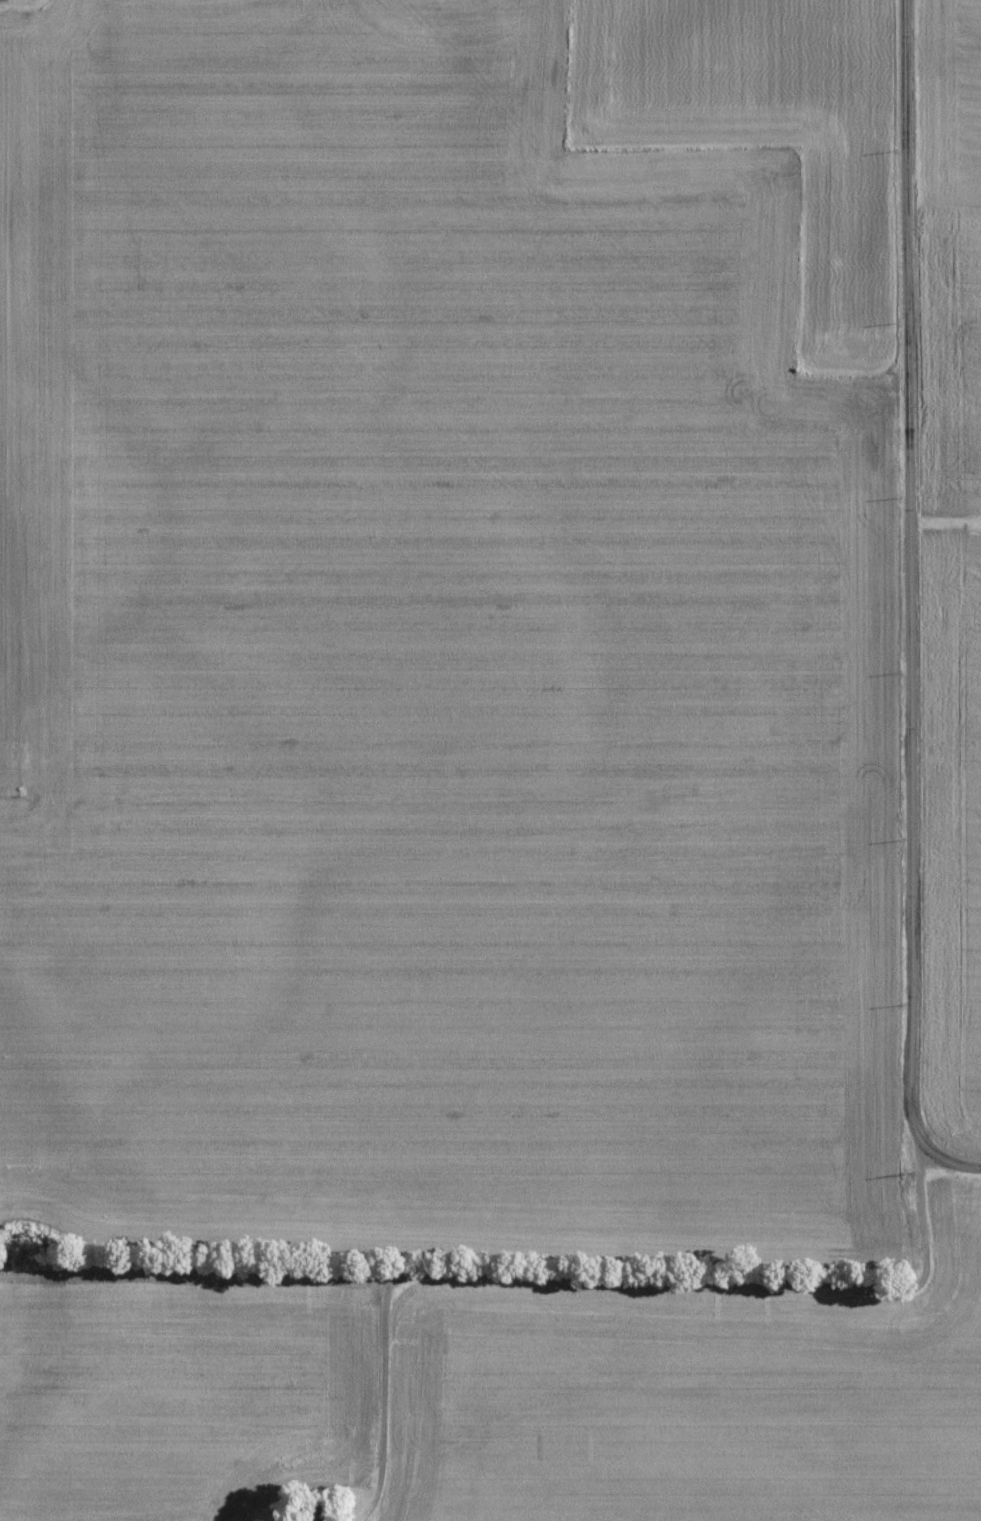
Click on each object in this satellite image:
road: (911, 603)
road: (593, 1274)

